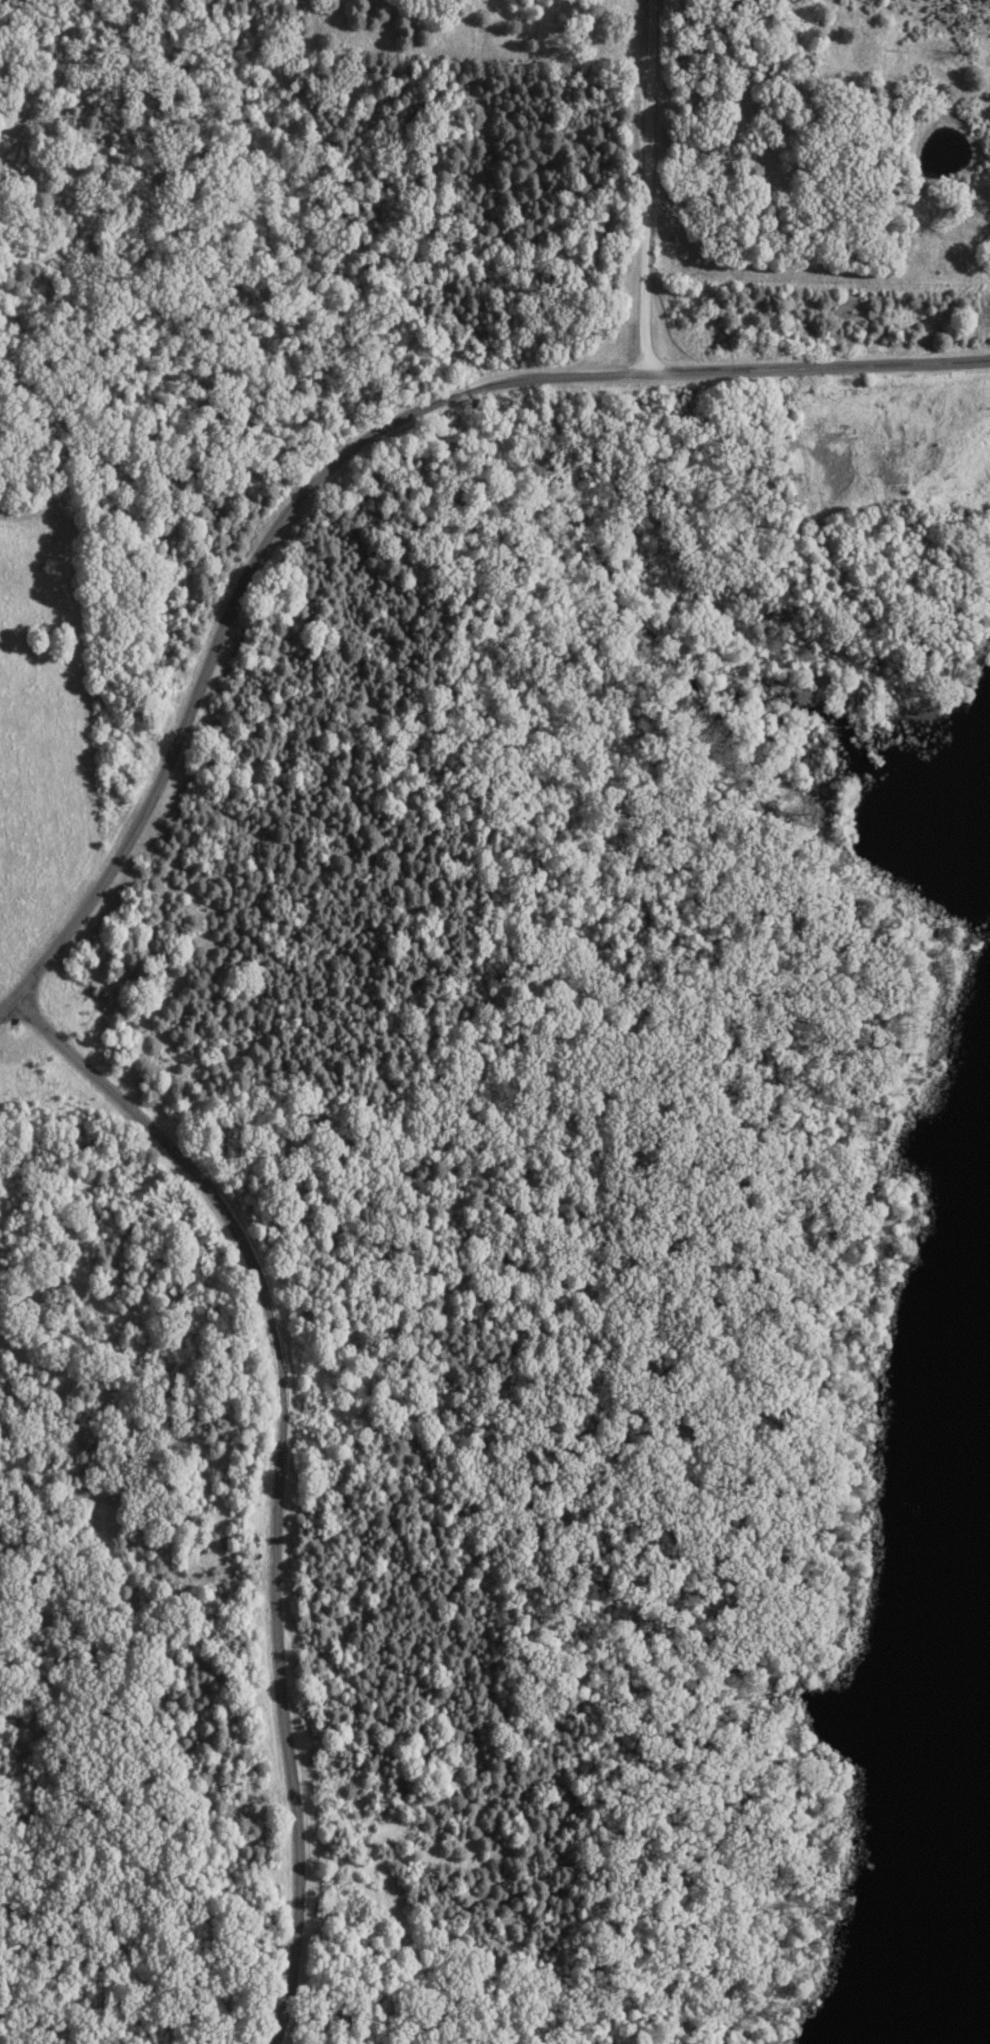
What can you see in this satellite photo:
road: (640, 185)
road: (347, 451)
road: (276, 1472)

